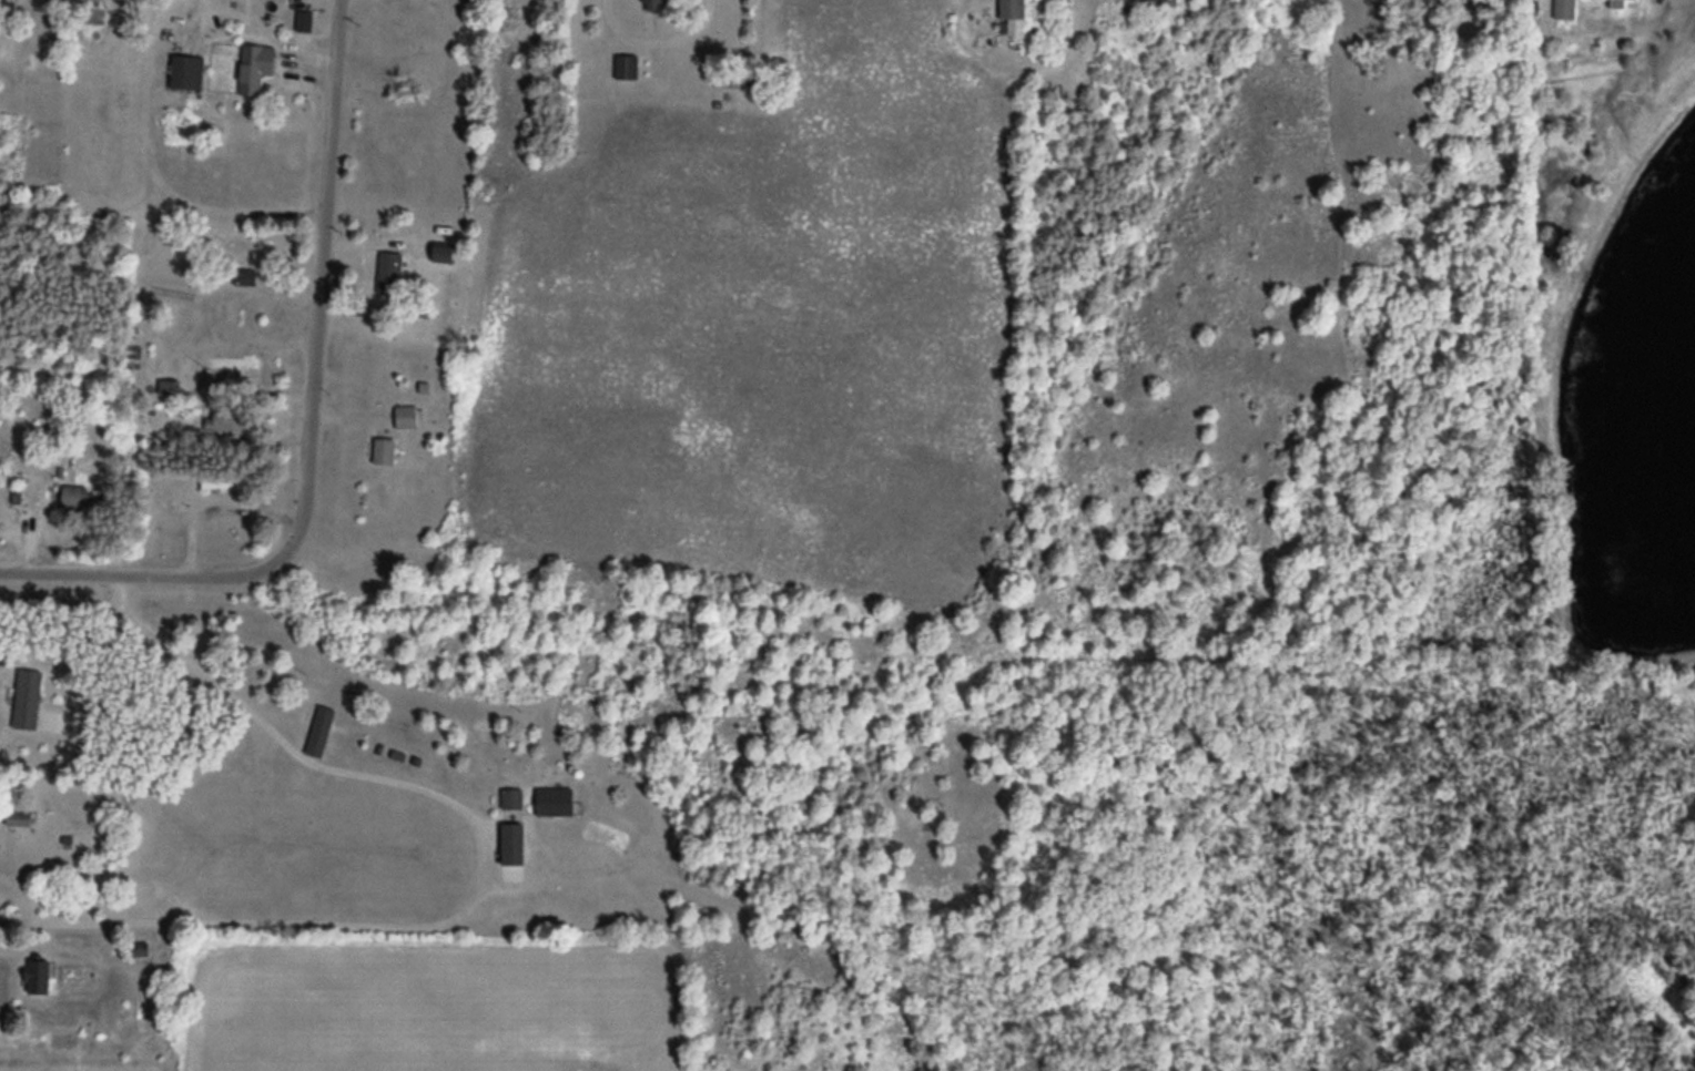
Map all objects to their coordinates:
building: (1617, 2)
building: (653, 4)
building: (1563, 8)
building: (1346, 12)
building: (1013, 14)
building: (303, 20)
building: (627, 64)
building: (256, 65)
building: (186, 72)
building: (737, 80)
building: (444, 253)
building: (253, 267)
building: (390, 269)
road: (321, 285)
building: (232, 363)
building: (406, 418)
building: (230, 421)
building: (388, 451)
building: (84, 497)
road: (140, 573)
building: (319, 732)
building: (512, 798)
building: (557, 802)
building: (20, 817)
building: (515, 844)
building: (40, 978)

